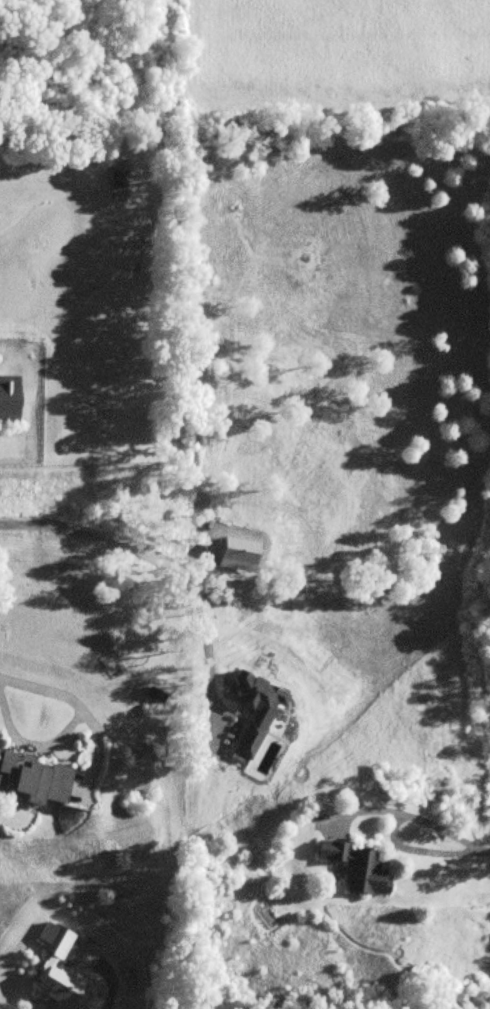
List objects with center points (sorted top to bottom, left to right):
building: (119, 178)
building: (11, 401)
road: (166, 553)
building: (157, 694)
road: (69, 724)
road: (95, 748)
building: (38, 777)
road: (414, 812)
building: (361, 866)
road: (114, 986)

